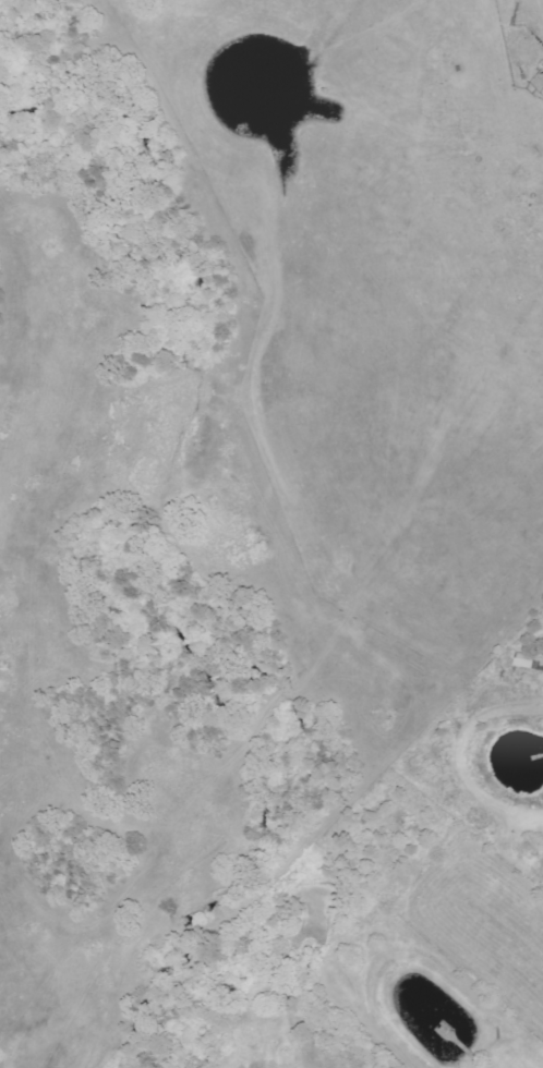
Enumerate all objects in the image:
building: (527, 662)
building: (542, 666)

